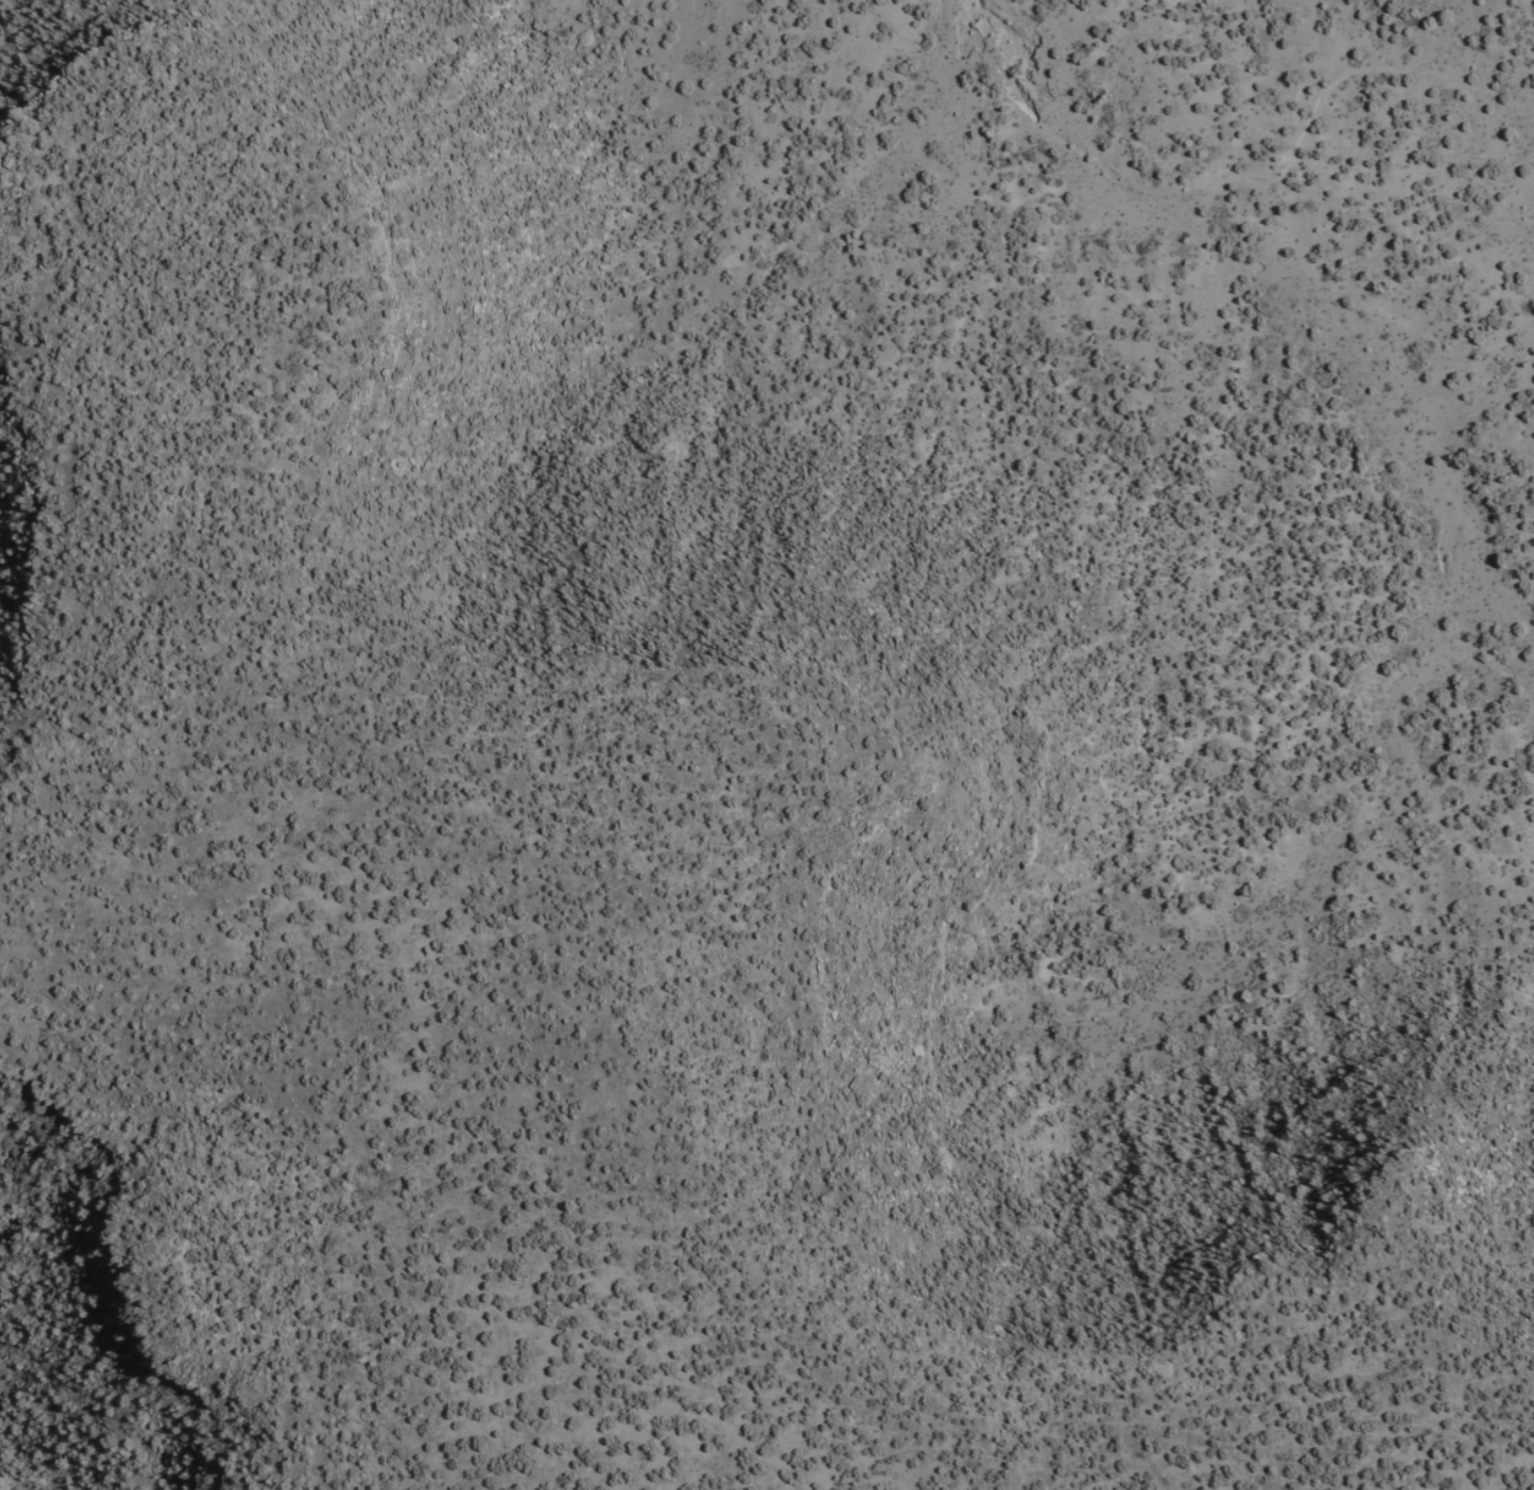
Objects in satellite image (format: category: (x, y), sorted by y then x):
road: (1208, 192)

